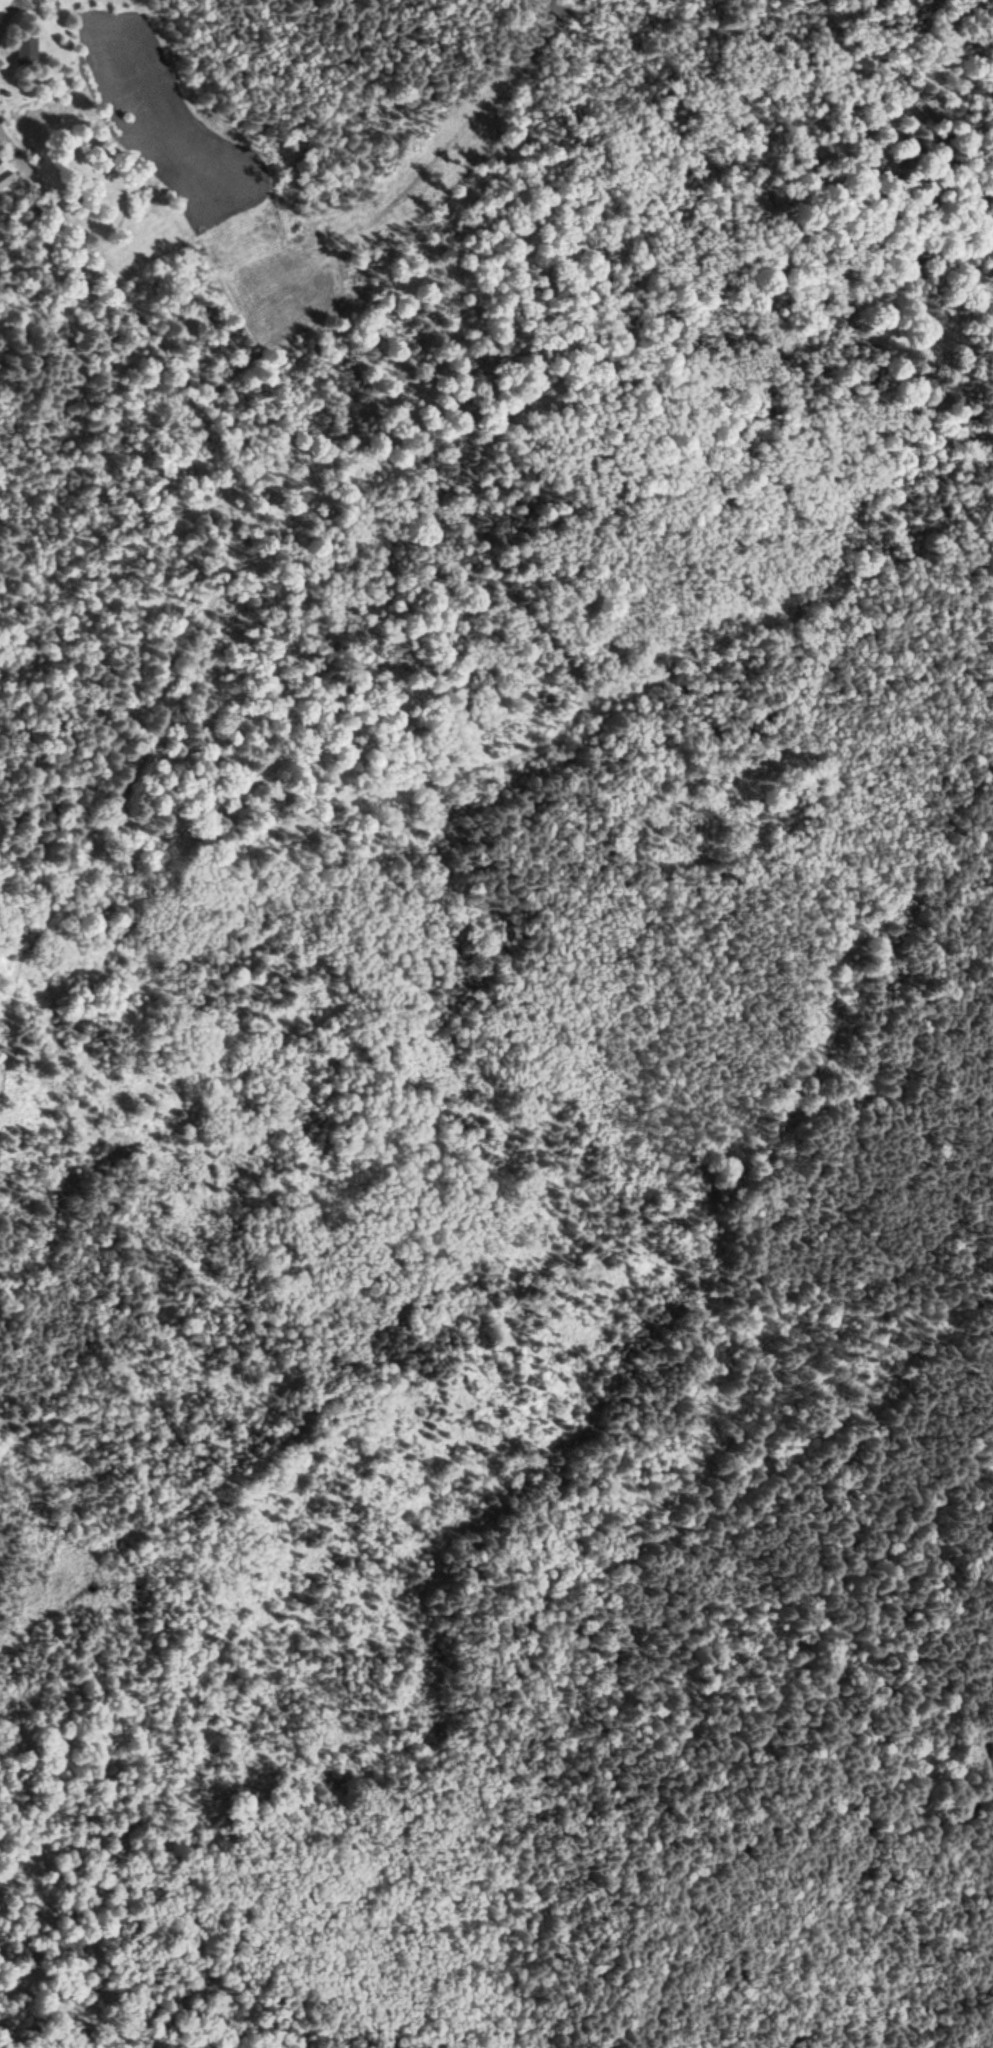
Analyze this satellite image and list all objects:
building: (26, 51)
road: (32, 196)
road: (49, 354)
river: (754, 1848)

